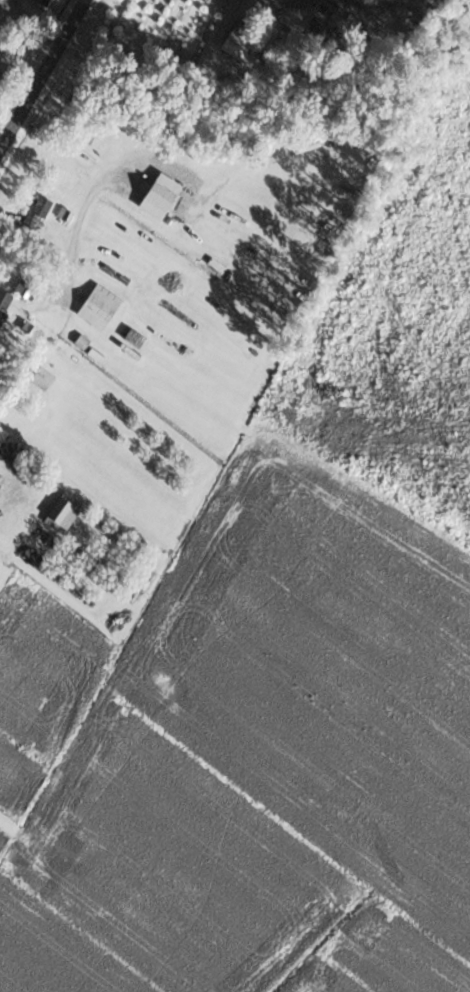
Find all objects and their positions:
building: (40, 1)
building: (6, 51)
road: (42, 75)
building: (158, 195)
building: (36, 213)
building: (98, 306)
building: (40, 376)
building: (62, 512)

